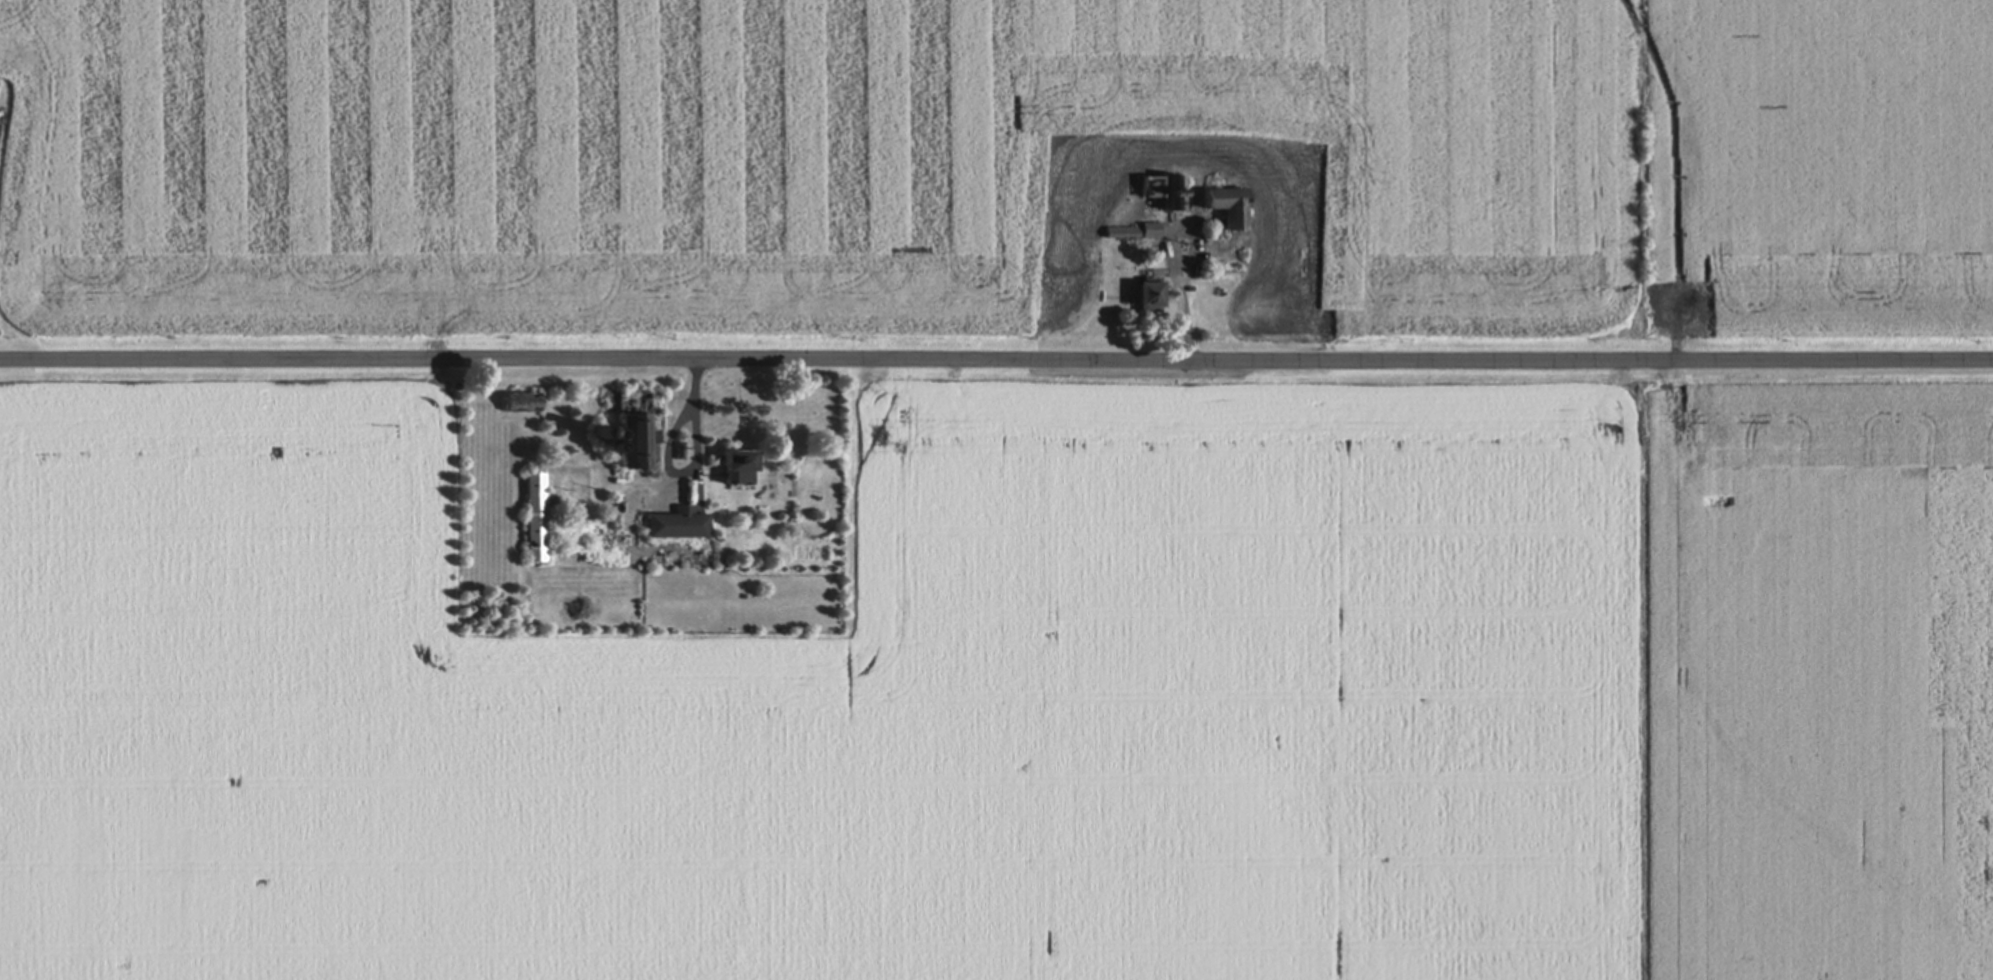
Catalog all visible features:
crop: (804, 160)
crop: (1820, 165)
building: (1161, 190)
building: (1225, 206)
building: (1131, 231)
building: (1142, 294)
road: (996, 357)
building: (518, 400)
building: (629, 421)
building: (731, 462)
building: (533, 515)
building: (675, 522)
crop: (1815, 691)
crop: (832, 707)

